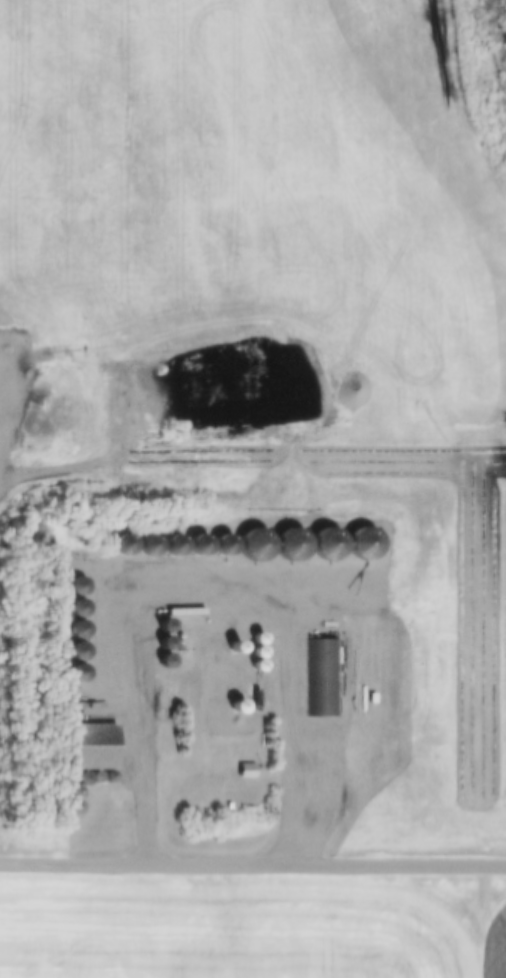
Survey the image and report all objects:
building: (261, 553)
building: (322, 685)
road: (149, 702)
building: (88, 752)
building: (243, 769)
road: (253, 858)

